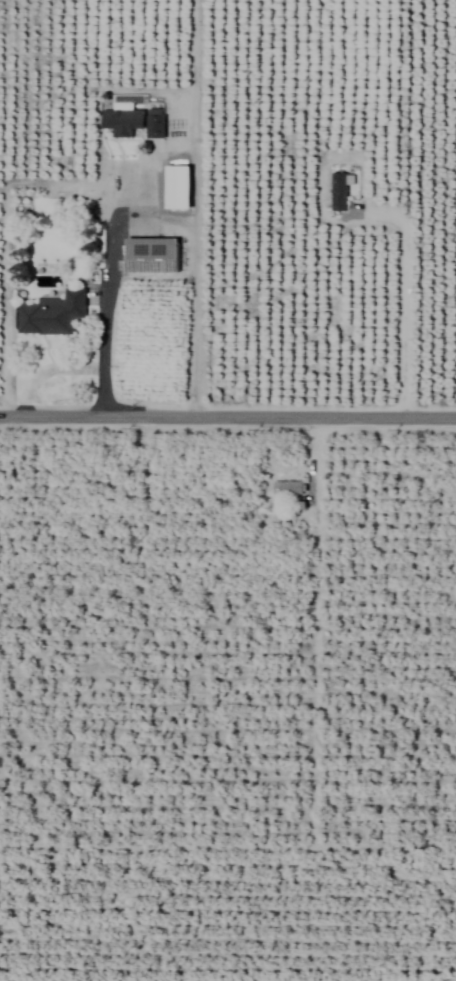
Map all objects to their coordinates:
building: (121, 122)
building: (153, 124)
building: (177, 188)
building: (339, 191)
building: (151, 256)
road: (105, 296)
road: (402, 299)
building: (51, 315)
road: (46, 369)
road: (228, 415)
building: (286, 489)
crop: (228, 490)

